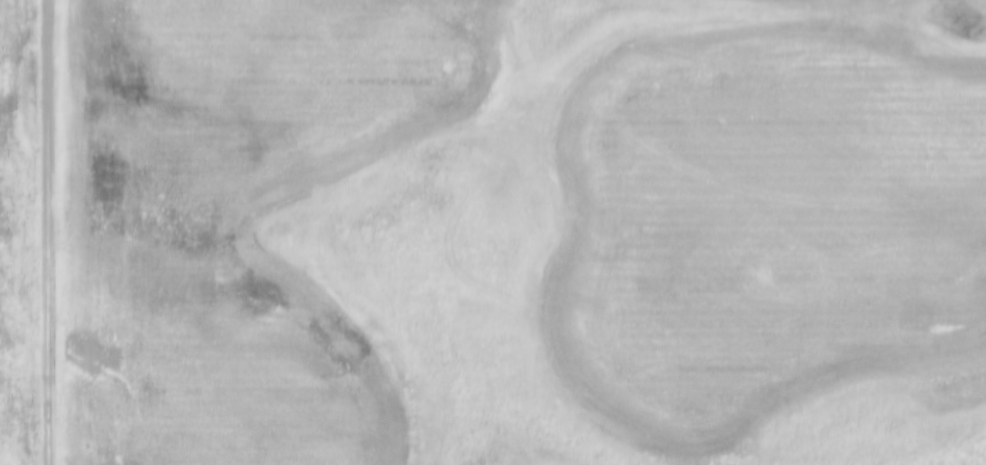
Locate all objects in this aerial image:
road: (50, 232)

